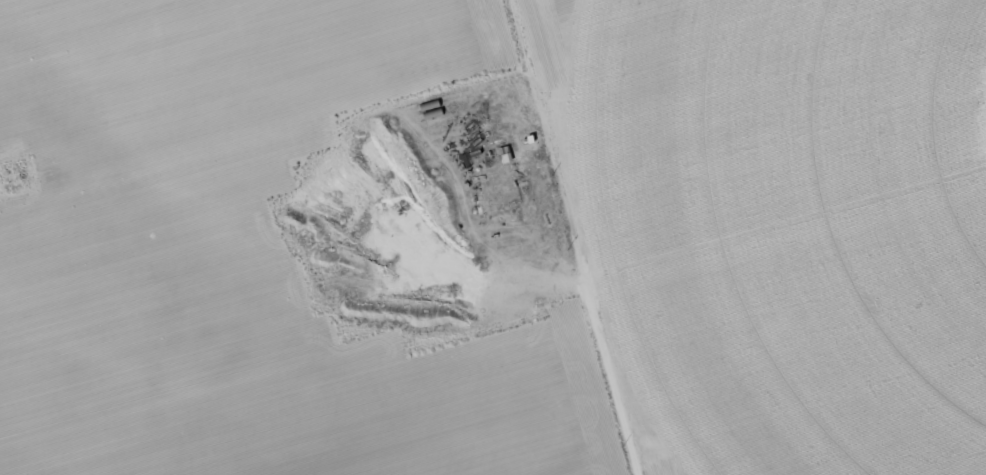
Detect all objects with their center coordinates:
road: (577, 273)

